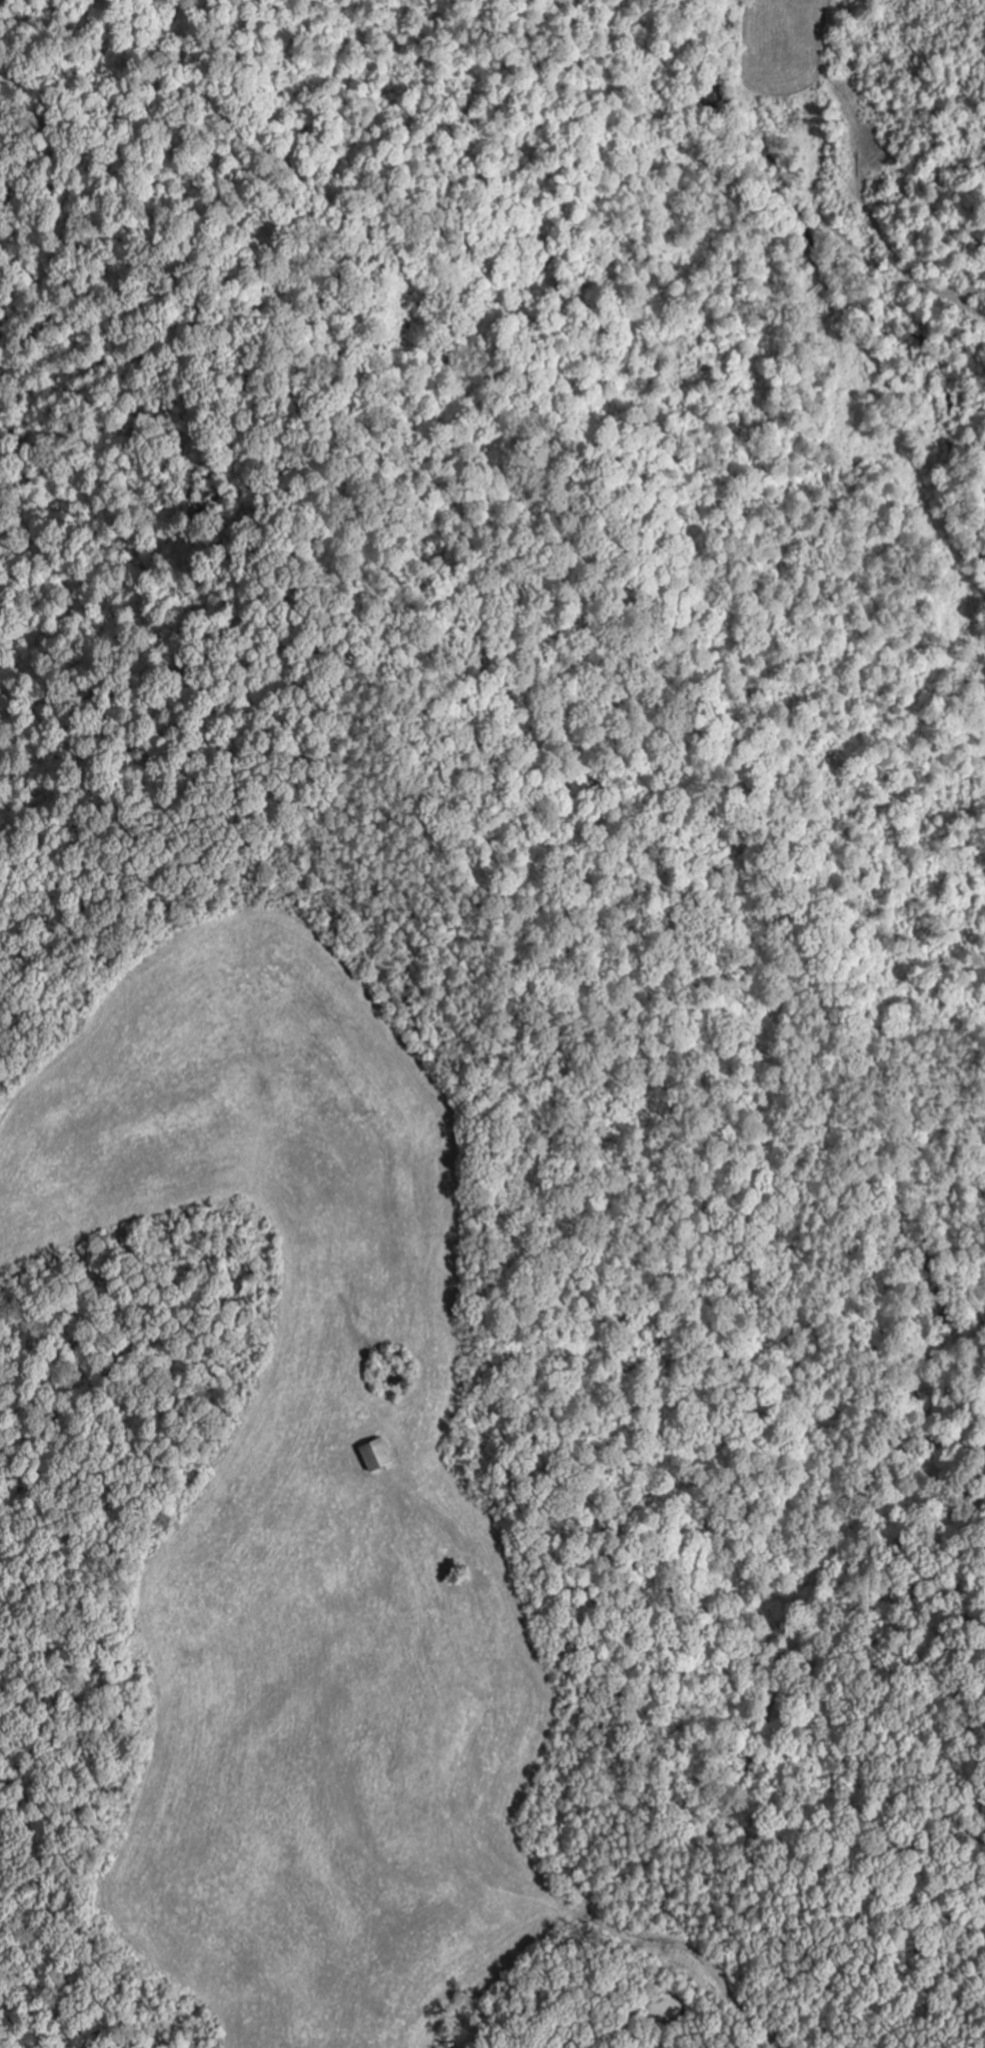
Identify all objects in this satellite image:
building: (373, 1455)

